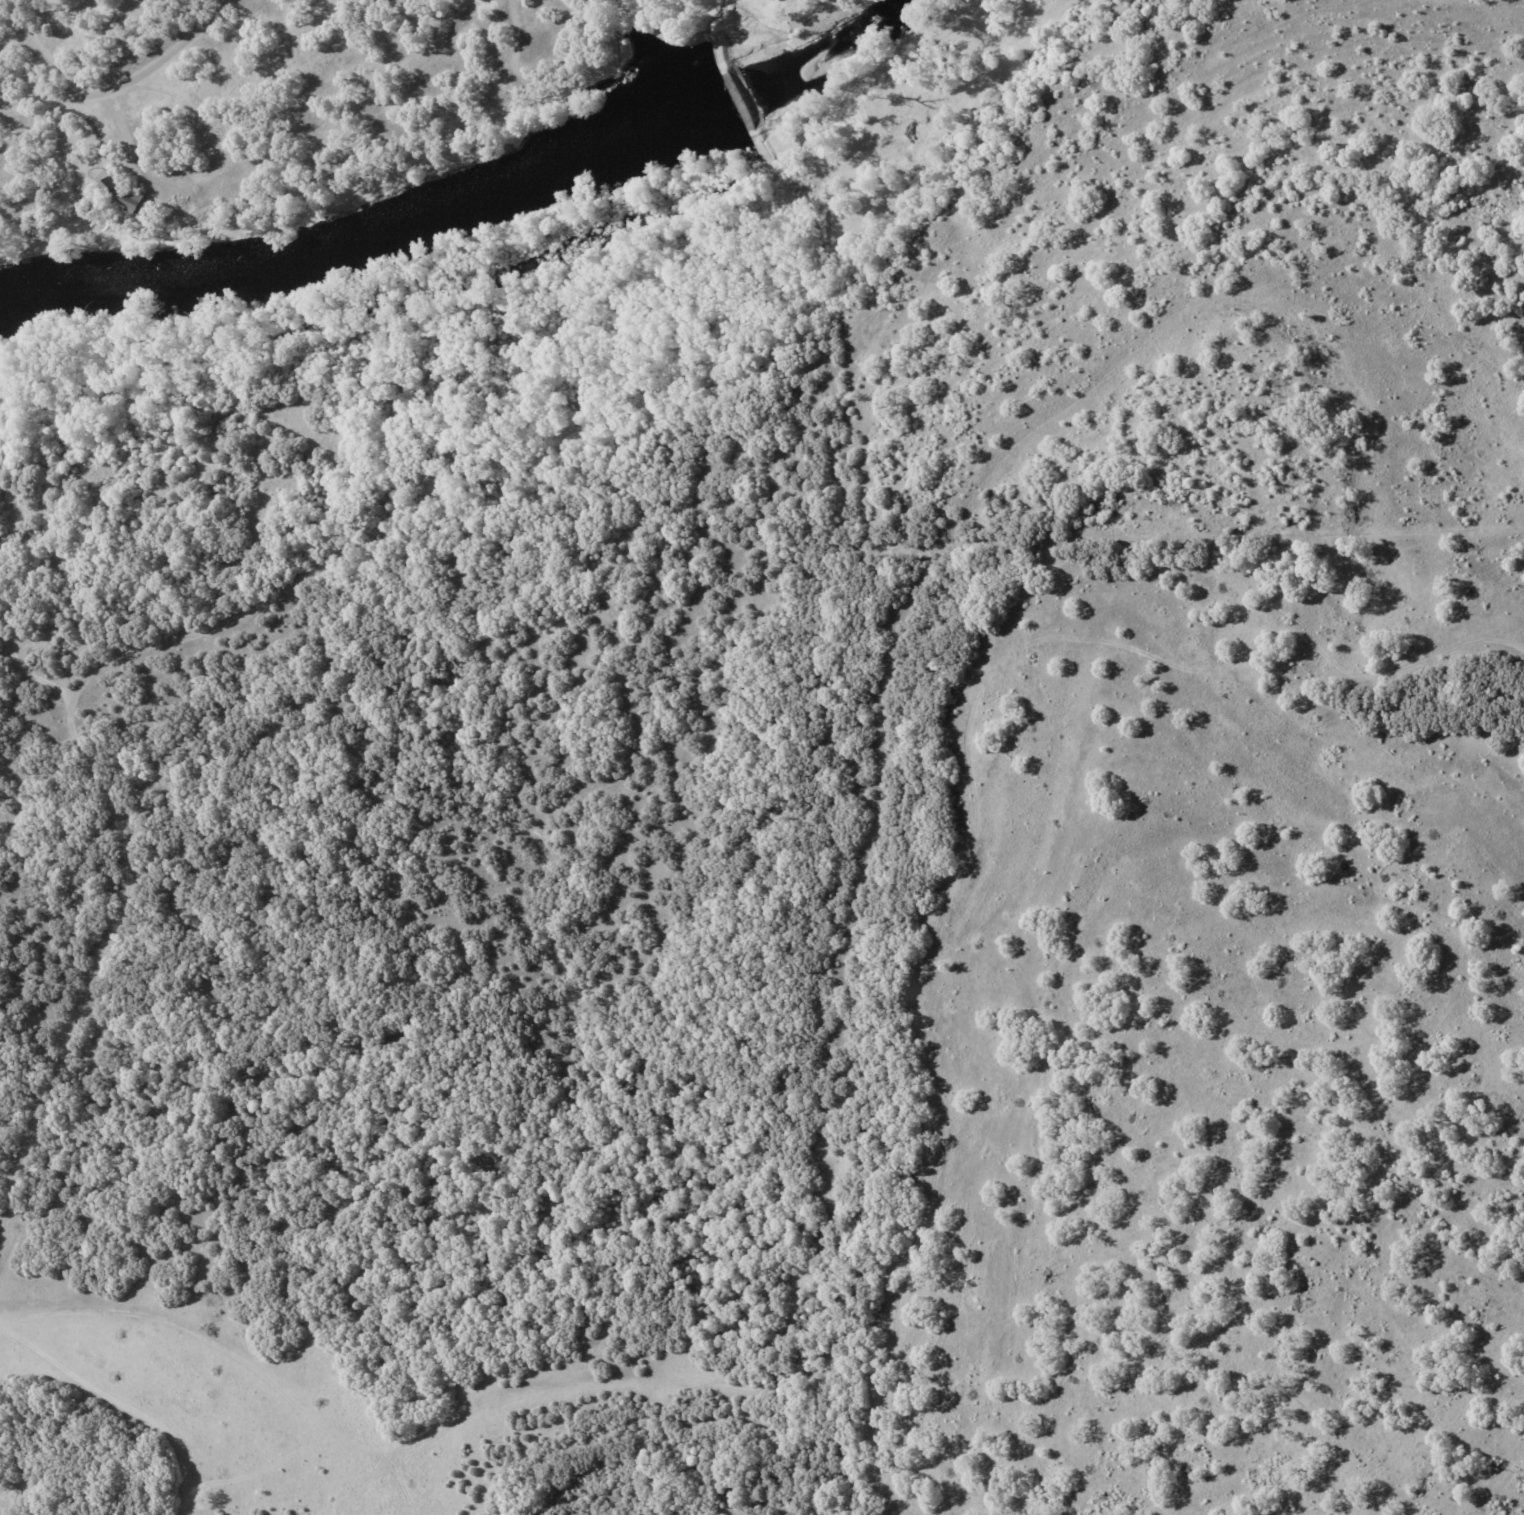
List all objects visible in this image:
road: (126, 82)

